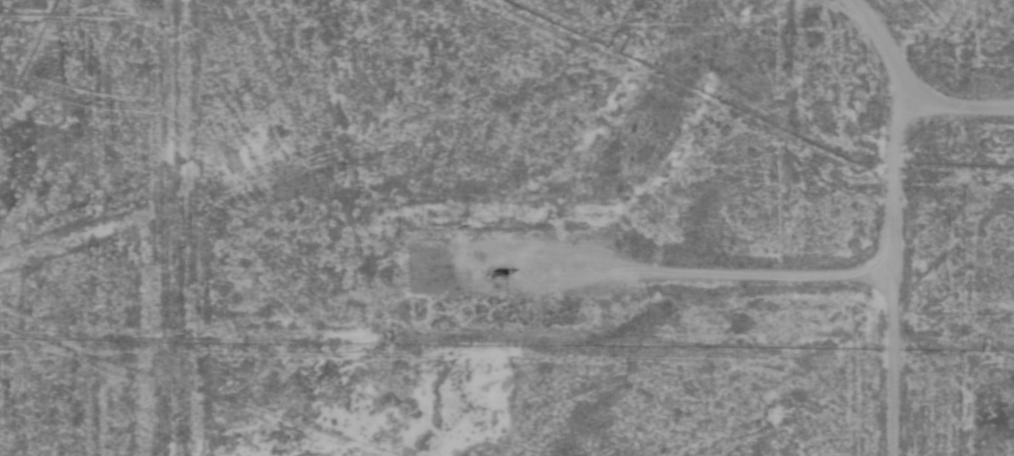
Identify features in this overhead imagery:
road: (880, 50)
road: (885, 221)

